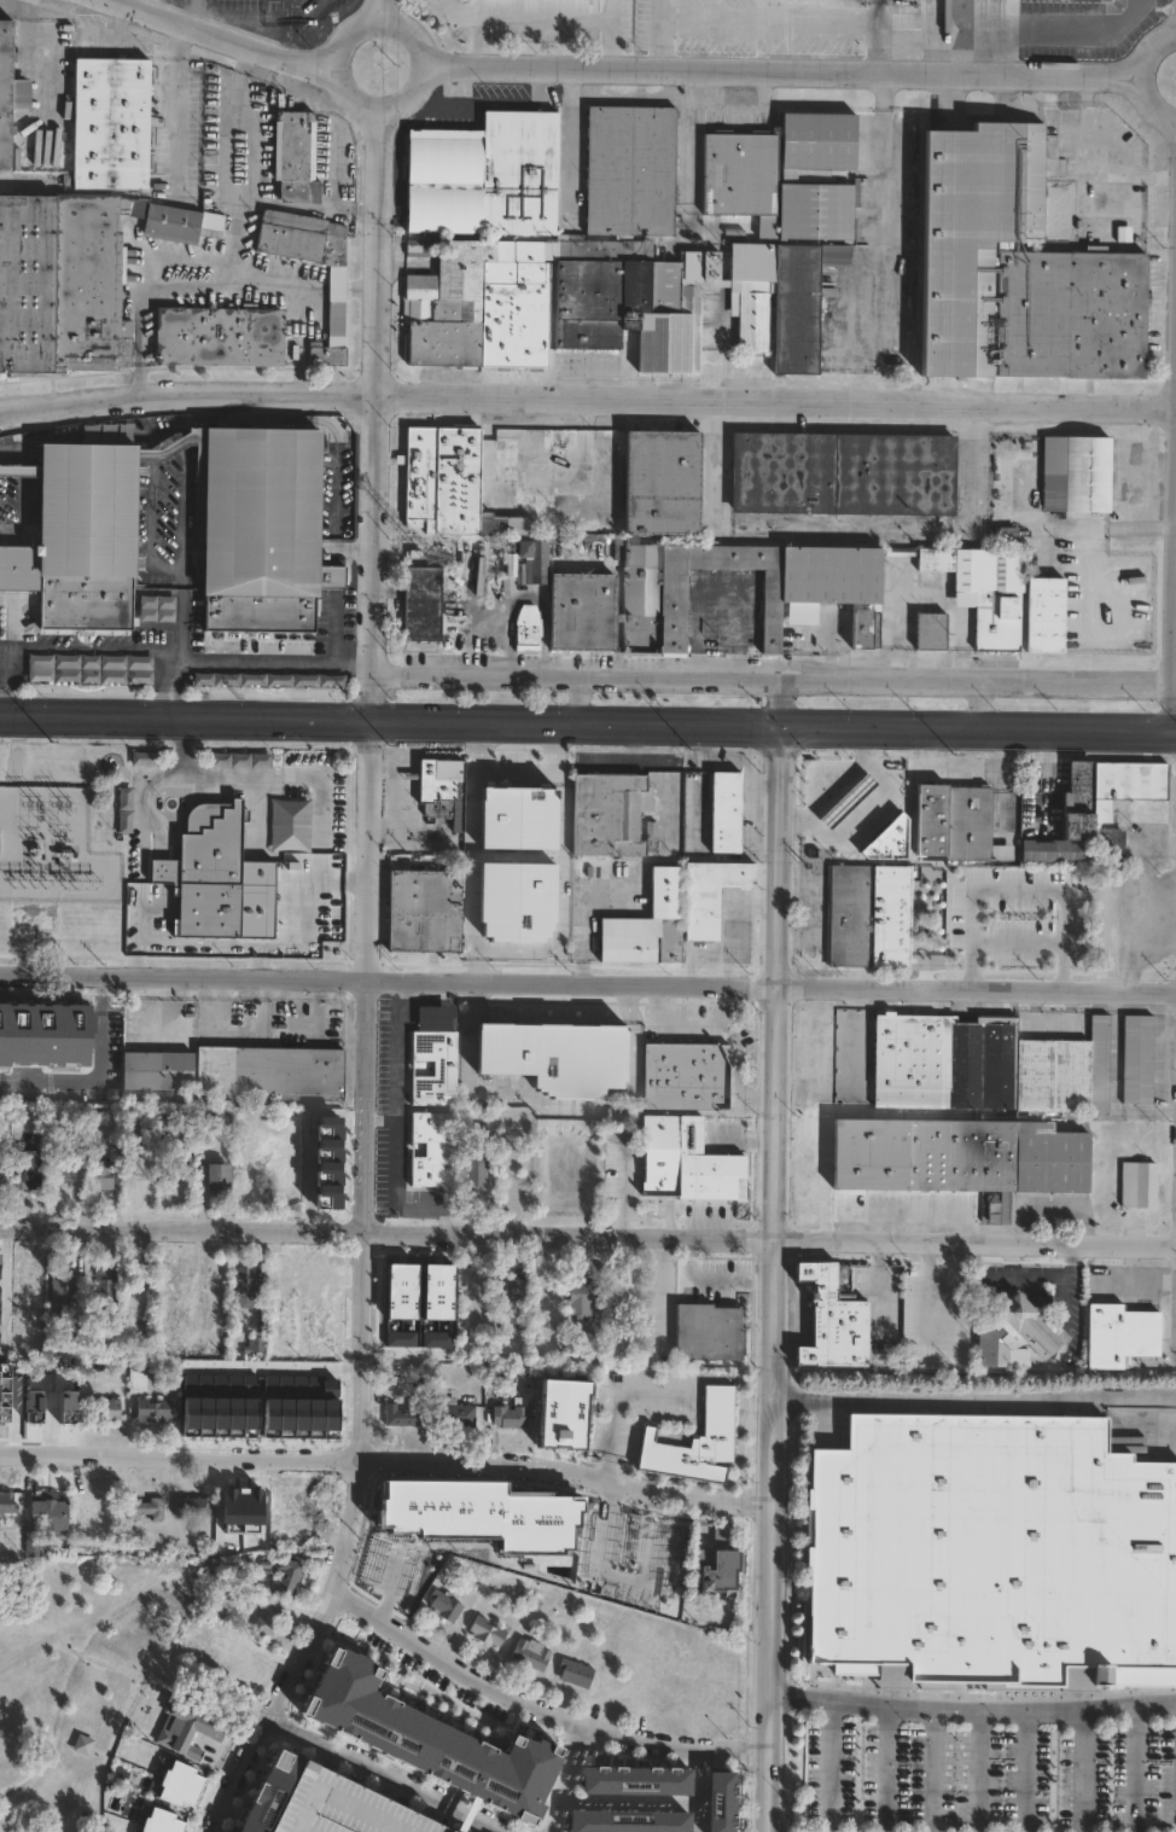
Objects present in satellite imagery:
road: (147, 5)
road: (374, 8)
road: (874, 17)
road: (372, 18)
road: (765, 22)
road: (537, 23)
road: (221, 31)
road: (1013, 31)
road: (657, 42)
road: (476, 45)
road: (610, 45)
road: (873, 52)
road: (780, 70)
road: (1137, 75)
building: (8, 92)
road: (176, 105)
building: (112, 124)
building: (816, 139)
road: (569, 145)
road: (883, 149)
road: (252, 152)
building: (298, 158)
building: (631, 170)
building: (487, 176)
building: (738, 178)
road: (25, 186)
building: (814, 210)
building: (976, 233)
building: (733, 234)
road: (231, 252)
building: (72, 277)
building: (333, 302)
building: (685, 303)
building: (473, 307)
road: (885, 315)
building: (1072, 315)
building: (215, 336)
road: (722, 354)
road: (587, 402)
road: (378, 413)
building: (525, 471)
building: (844, 473)
building: (1077, 473)
building: (484, 476)
building: (441, 477)
road: (704, 481)
building: (257, 527)
road: (909, 531)
building: (83, 533)
building: (1007, 535)
road: (355, 549)
building: (524, 563)
building: (18, 566)
building: (693, 566)
building: (986, 589)
road: (179, 591)
road: (718, 591)
road: (524, 598)
building: (424, 604)
building: (156, 609)
building: (1047, 615)
building: (933, 632)
building: (525, 635)
road: (88, 649)
road: (274, 665)
building: (89, 668)
road: (774, 676)
building: (268, 679)
road: (1, 680)
road: (574, 698)
road: (781, 702)
road: (977, 704)
road: (330, 716)
road: (721, 725)
road: (842, 726)
road: (1038, 729)
road: (563, 744)
building: (144, 757)
building: (239, 758)
road: (518, 767)
road: (200, 777)
road: (781, 790)
building: (438, 791)
road: (860, 808)
building: (123, 809)
building: (1104, 810)
building: (727, 812)
building: (613, 816)
building: (520, 819)
building: (955, 821)
building: (289, 824)
road: (470, 836)
power substation: (52, 847)
building: (204, 871)
building: (1050, 885)
road: (1017, 890)
building: (711, 894)
road: (564, 896)
building: (523, 901)
building: (298, 903)
building: (421, 908)
building: (850, 915)
building: (892, 917)
road: (730, 924)
building: (648, 925)
building: (1060, 941)
road: (194, 942)
road: (1017, 946)
road: (477, 966)
road: (588, 983)
road: (310, 1002)
road: (675, 1019)
building: (551, 1053)
road: (734, 1060)
building: (1139, 1060)
building: (436, 1069)
building: (159, 1071)
building: (272, 1074)
building: (688, 1076)
road: (99, 1077)
road: (756, 1098)
building: (971, 1105)
building: (210, 1117)
road: (382, 1119)
building: (174, 1126)
road: (394, 1126)
building: (811, 1147)
building: (435, 1150)
building: (660, 1153)
building: (708, 1158)
building: (2, 1170)
building: (30, 1170)
building: (146, 1171)
building: (475, 1171)
building: (64, 1173)
building: (103, 1175)
building: (215, 1179)
building: (1141, 1185)
building: (813, 1187)
building: (990, 1211)
road: (588, 1226)
road: (716, 1269)
road: (668, 1280)
building: (182, 1283)
road: (926, 1285)
building: (246, 1287)
building: (63, 1290)
road: (365, 1290)
building: (519, 1290)
building: (106, 1291)
building: (582, 1296)
building: (653, 1296)
building: (477, 1299)
building: (320, 1303)
building: (435, 1314)
building: (290, 1316)
building: (833, 1320)
building: (710, 1331)
building: (1014, 1332)
road: (775, 1333)
building: (1119, 1333)
building: (258, 1344)
road: (622, 1402)
road: (974, 1403)
building: (8, 1407)
building: (54, 1408)
building: (105, 1409)
building: (156, 1409)
building: (456, 1413)
building: (406, 1414)
building: (513, 1414)
building: (561, 1421)
building: (693, 1441)
road: (388, 1456)
building: (8, 1504)
building: (94, 1504)
building: (237, 1505)
building: (193, 1507)
building: (145, 1508)
building: (511, 1512)
building: (53, 1513)
building: (298, 1514)
building: (465, 1514)
building: (407, 1516)
building: (34, 1541)
building: (664, 1543)
building: (988, 1554)
building: (398, 1569)
building: (720, 1575)
building: (287, 1577)
building: (477, 1580)
building: (447, 1606)
building: (270, 1619)
building: (488, 1632)
road: (60, 1636)
building: (530, 1654)
building: (241, 1659)
park: (89, 1669)
building: (577, 1673)
road: (132, 1682)
road: (543, 1702)
building: (734, 1702)
road: (972, 1710)
building: (204, 1738)
building: (424, 1740)
road: (828, 1764)
road: (885, 1768)
road: (1131, 1768)
road: (931, 1770)
road: (1079, 1770)
road: (977, 1772)
road: (1024, 1772)
road: (567, 1775)
road: (386, 1778)
building: (631, 1779)
building: (174, 1784)
building: (267, 1791)
road: (308, 1791)
building: (717, 1799)
road: (657, 1804)
building: (338, 1807)
parking garage: (338, 1807)
building: (623, 1821)
building: (153, 1822)
road: (768, 1822)

